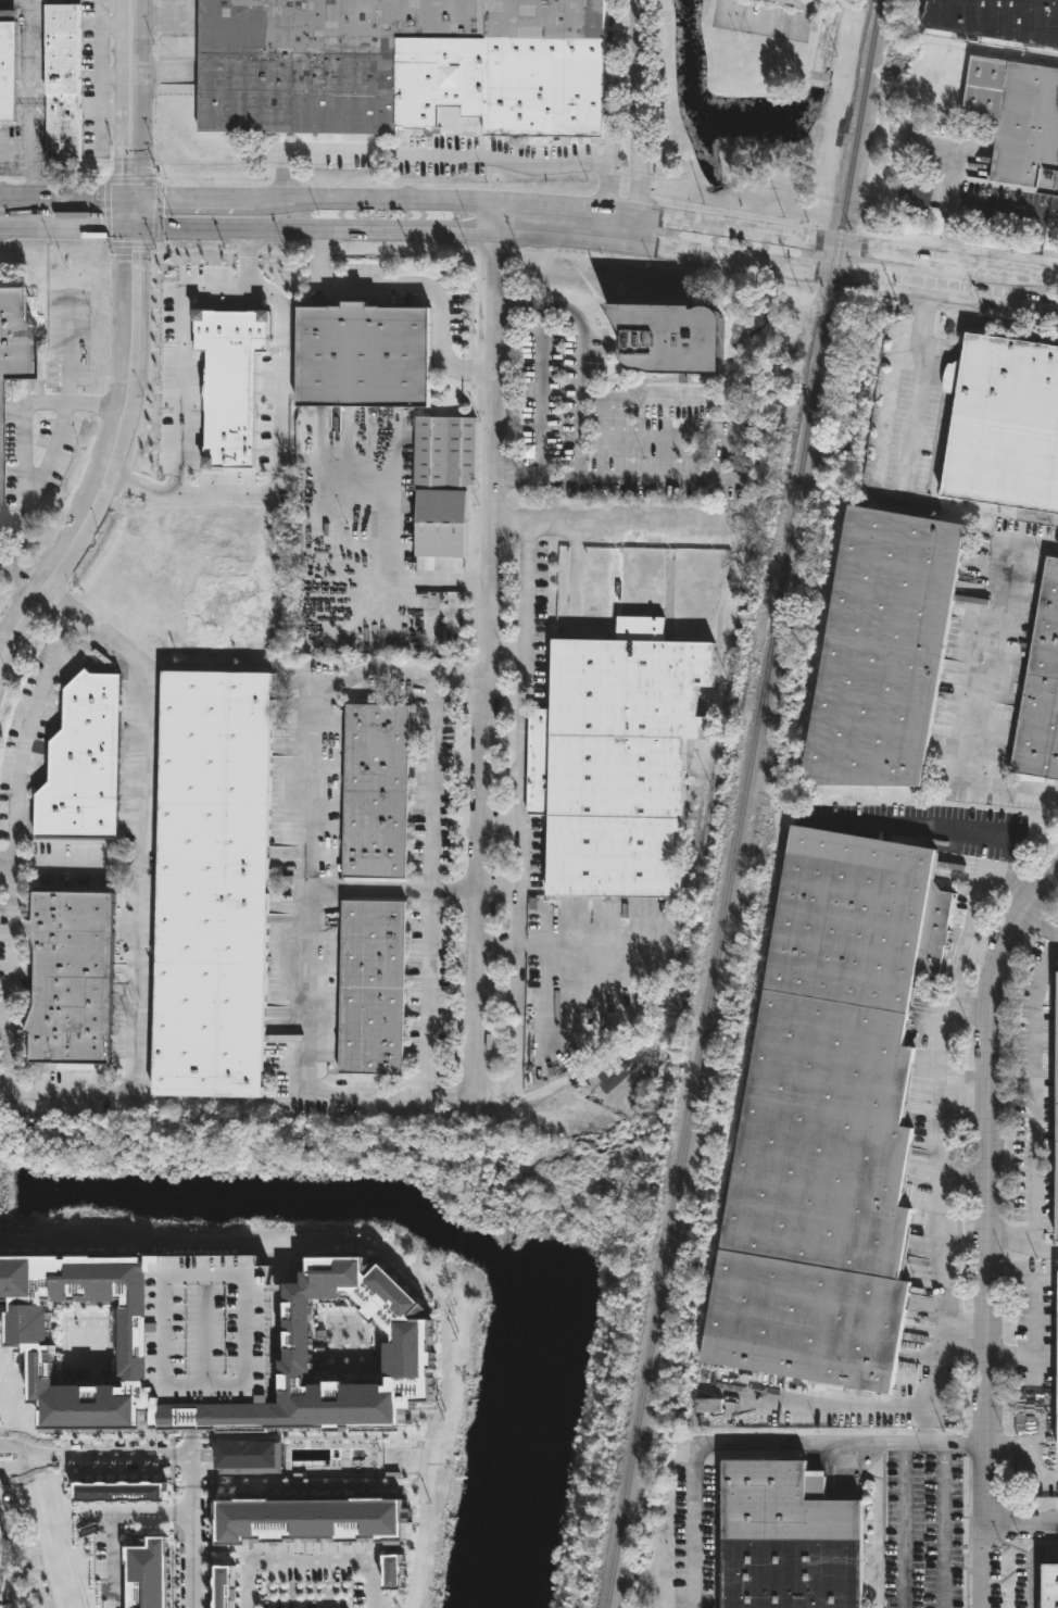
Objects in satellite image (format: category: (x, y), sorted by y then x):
building: (786, 2)
road: (131, 12)
building: (996, 18)
road: (768, 24)
road: (100, 32)
road: (131, 49)
building: (7, 66)
building: (400, 67)
road: (115, 74)
building: (61, 84)
road: (99, 113)
building: (1017, 121)
road: (637, 125)
road: (30, 134)
road: (131, 137)
road: (32, 160)
road: (442, 161)
road: (65, 199)
traffic signals: (131, 201)
road: (954, 203)
road: (993, 205)
road: (595, 216)
road: (131, 217)
road: (4, 230)
road: (16, 231)
road: (77, 233)
traffic signals: (131, 234)
road: (596, 247)
road: (935, 273)
road: (420, 285)
road: (519, 302)
building: (12, 335)
building: (668, 336)
road: (179, 359)
building: (360, 359)
road: (67, 379)
road: (915, 391)
building: (1004, 426)
road: (279, 438)
building: (442, 452)
road: (579, 460)
road: (24, 464)
road: (111, 464)
road: (559, 479)
building: (440, 525)
road: (624, 529)
road: (391, 575)
road: (20, 579)
road: (490, 649)
building: (880, 652)
road: (986, 678)
building: (1041, 689)
road: (522, 742)
building: (615, 761)
building: (80, 766)
building: (375, 793)
railway: (740, 803)
road: (943, 830)
road: (5, 859)
road: (76, 862)
road: (430, 883)
road: (308, 885)
building: (210, 887)
road: (394, 891)
road: (970, 916)
road: (1040, 925)
railway: (763, 929)
road: (572, 932)
building: (68, 980)
building: (371, 989)
road: (942, 1025)
building: (616, 1078)
road: (3, 1093)
road: (1033, 1095)
road: (108, 1096)
building: (1057, 1109)
building: (827, 1121)
road: (941, 1217)
road: (990, 1228)
road: (152, 1244)
road: (1023, 1245)
road: (1035, 1294)
road: (278, 1298)
building: (210, 1330)
parking lot: (210, 1330)
building: (30, 1341)
road: (1028, 1354)
building: (1057, 1374)
road: (443, 1380)
road: (868, 1404)
building: (707, 1407)
road: (192, 1414)
road: (191, 1441)
road: (718, 1443)
road: (946, 1443)
road: (1033, 1448)
road: (96, 1457)
building: (249, 1457)
building: (118, 1492)
road: (135, 1512)
building: (308, 1519)
road: (1023, 1523)
road: (904, 1525)
road: (944, 1525)
road: (191, 1532)
building: (784, 1540)
road: (112, 1553)
road: (310, 1561)
building: (391, 1572)
building: (147, 1574)
building: (1048, 1586)
building: (225, 1587)

